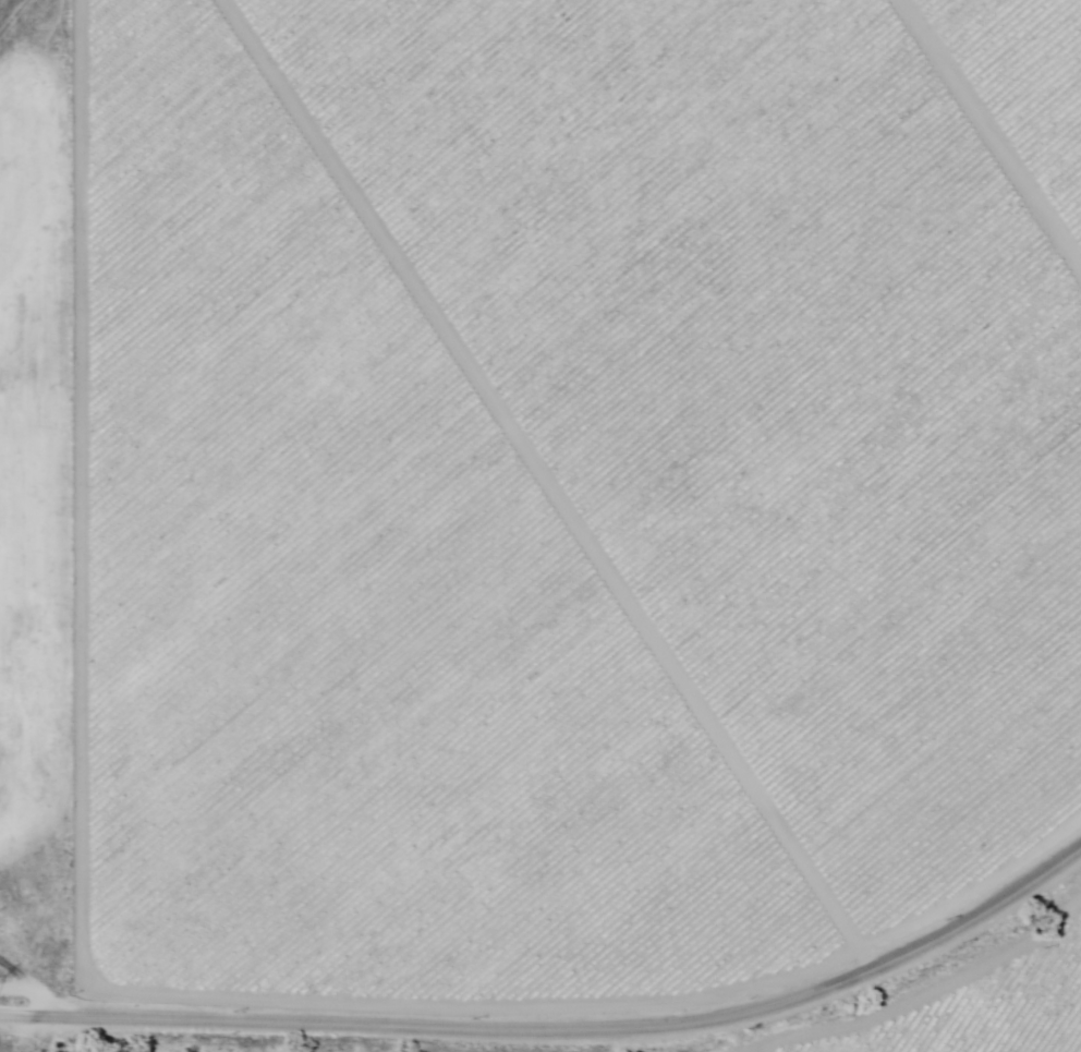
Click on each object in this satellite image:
road: (38, 59)
crop: (576, 509)
road: (20, 1009)
road: (560, 1027)

